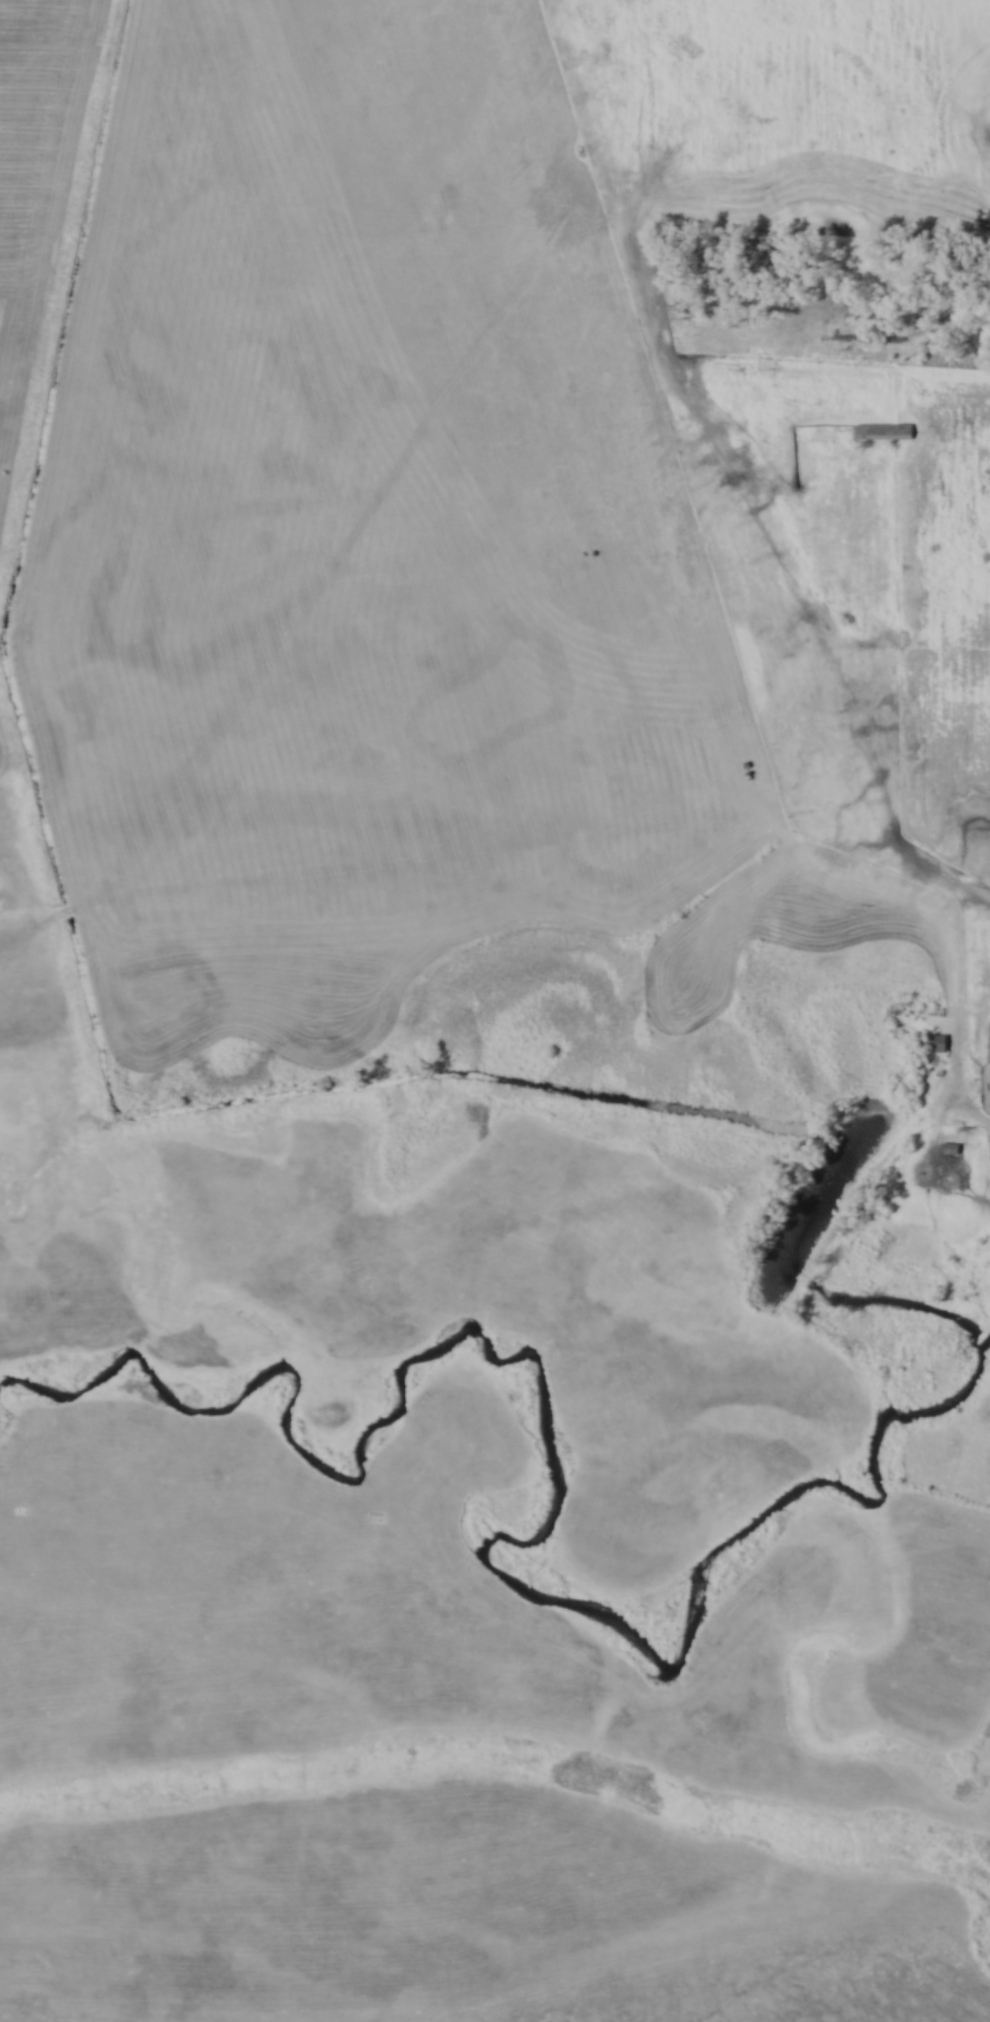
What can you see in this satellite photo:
building: (885, 434)
building: (938, 1045)

